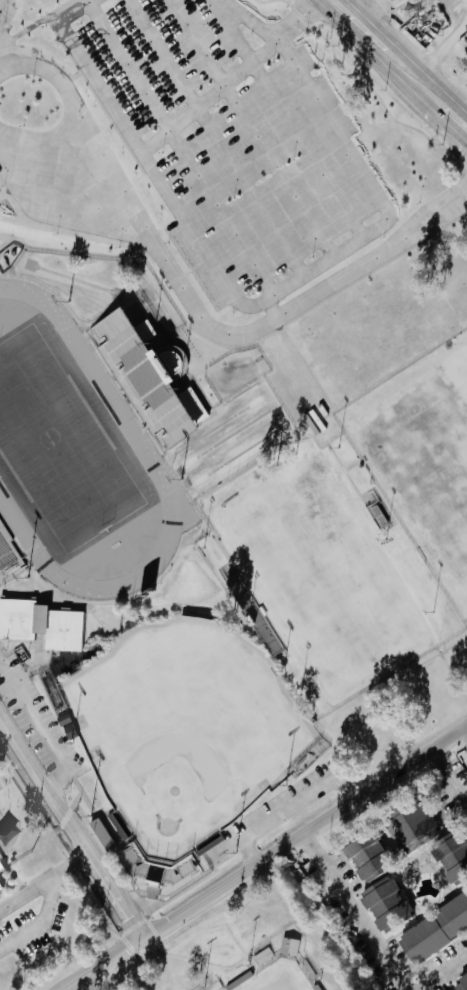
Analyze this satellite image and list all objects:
road: (0, 0)
road: (360, 15)
road: (256, 18)
road: (443, 44)
road: (378, 60)
road: (424, 74)
road: (452, 129)
parking lot: (230, 140)
road: (142, 158)
road: (364, 175)
road: (189, 302)
building: (151, 372)
park: (458, 372)
track: (113, 402)
park: (58, 444)
stadium: (105, 455)
park: (426, 463)
building: (7, 549)
park: (320, 574)
building: (41, 622)
road: (0, 718)
park: (184, 727)
road: (466, 729)
building: (70, 731)
road: (448, 782)
road: (70, 826)
building: (414, 830)
building: (108, 831)
road: (305, 833)
road: (250, 850)
building: (361, 853)
building: (452, 856)
road: (72, 864)
building: (1, 865)
building: (1, 884)
building: (0, 888)
road: (27, 889)
building: (384, 904)
road: (352, 914)
road: (325, 919)
road: (40, 921)
building: (434, 930)
building: (289, 946)
road: (100, 963)
road: (448, 975)
park: (275, 976)
building: (460, 981)

